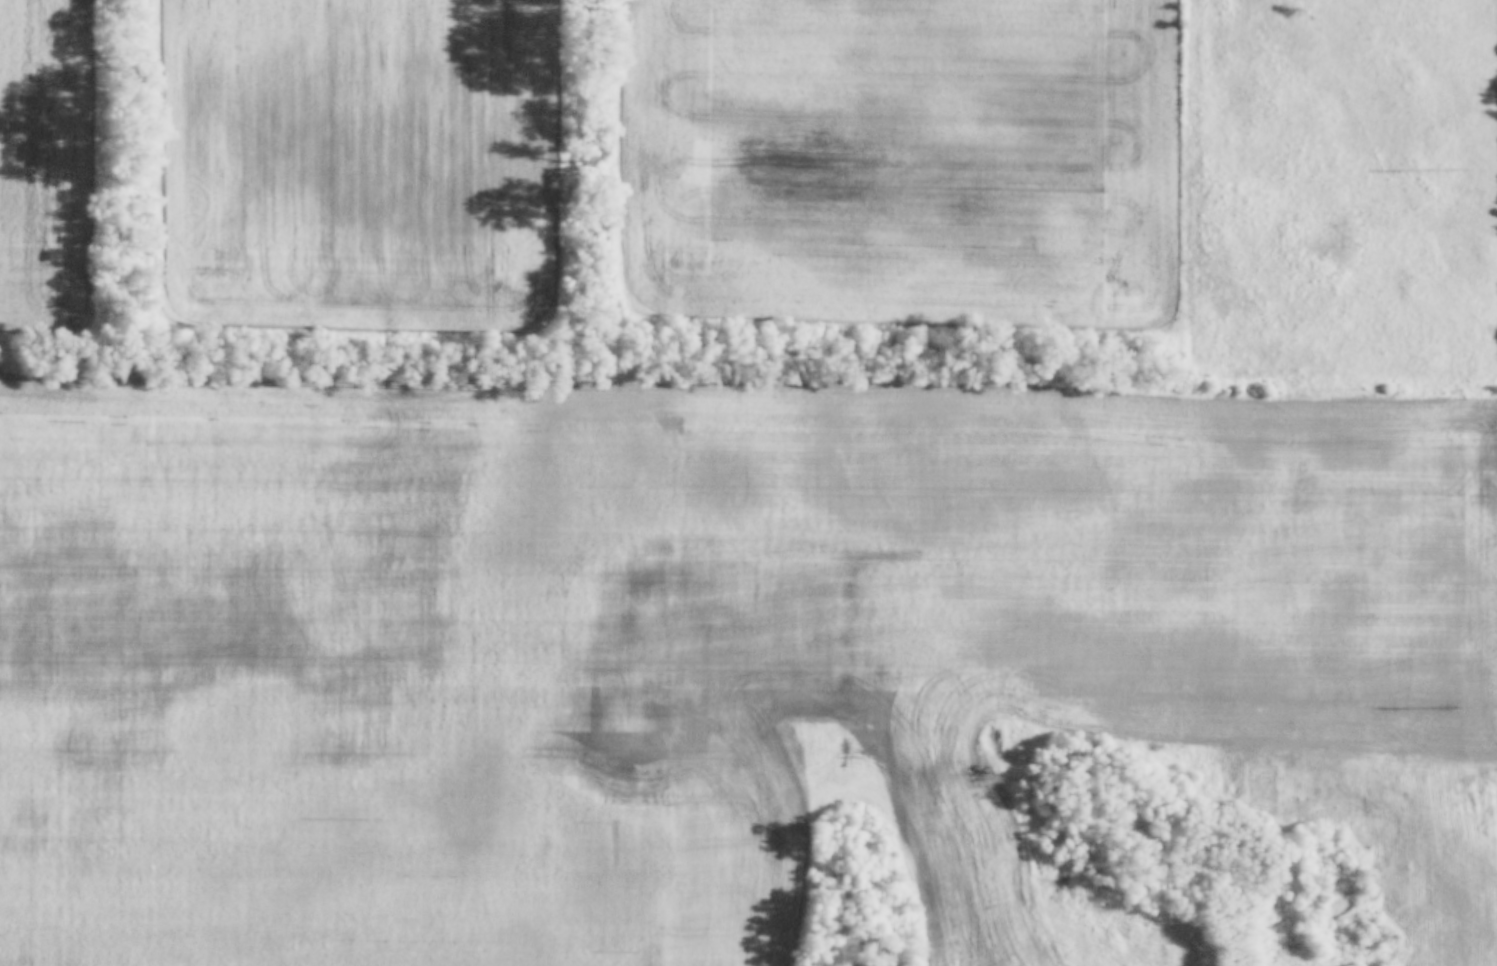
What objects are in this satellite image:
power tower: (1447, 166)
power tower: (1451, 706)

